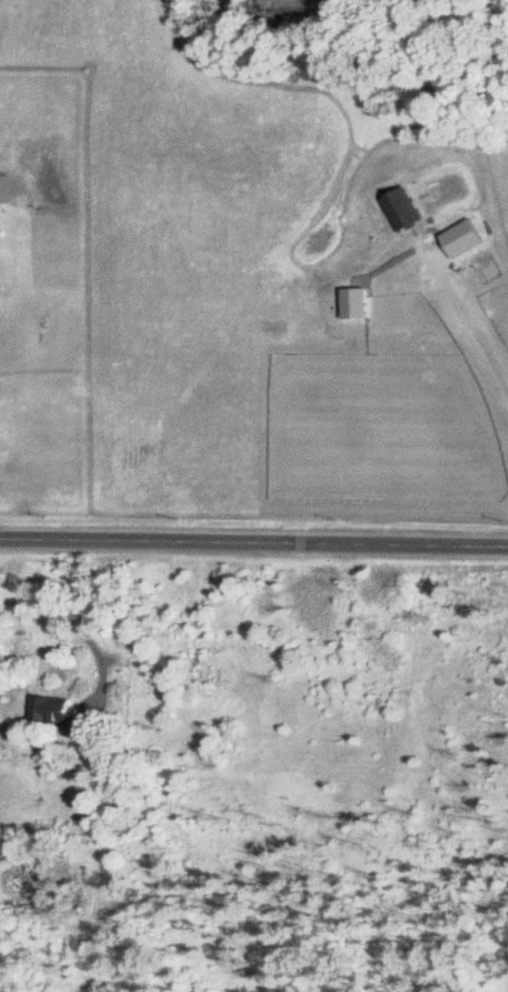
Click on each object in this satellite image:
road: (254, 545)
building: (57, 714)

